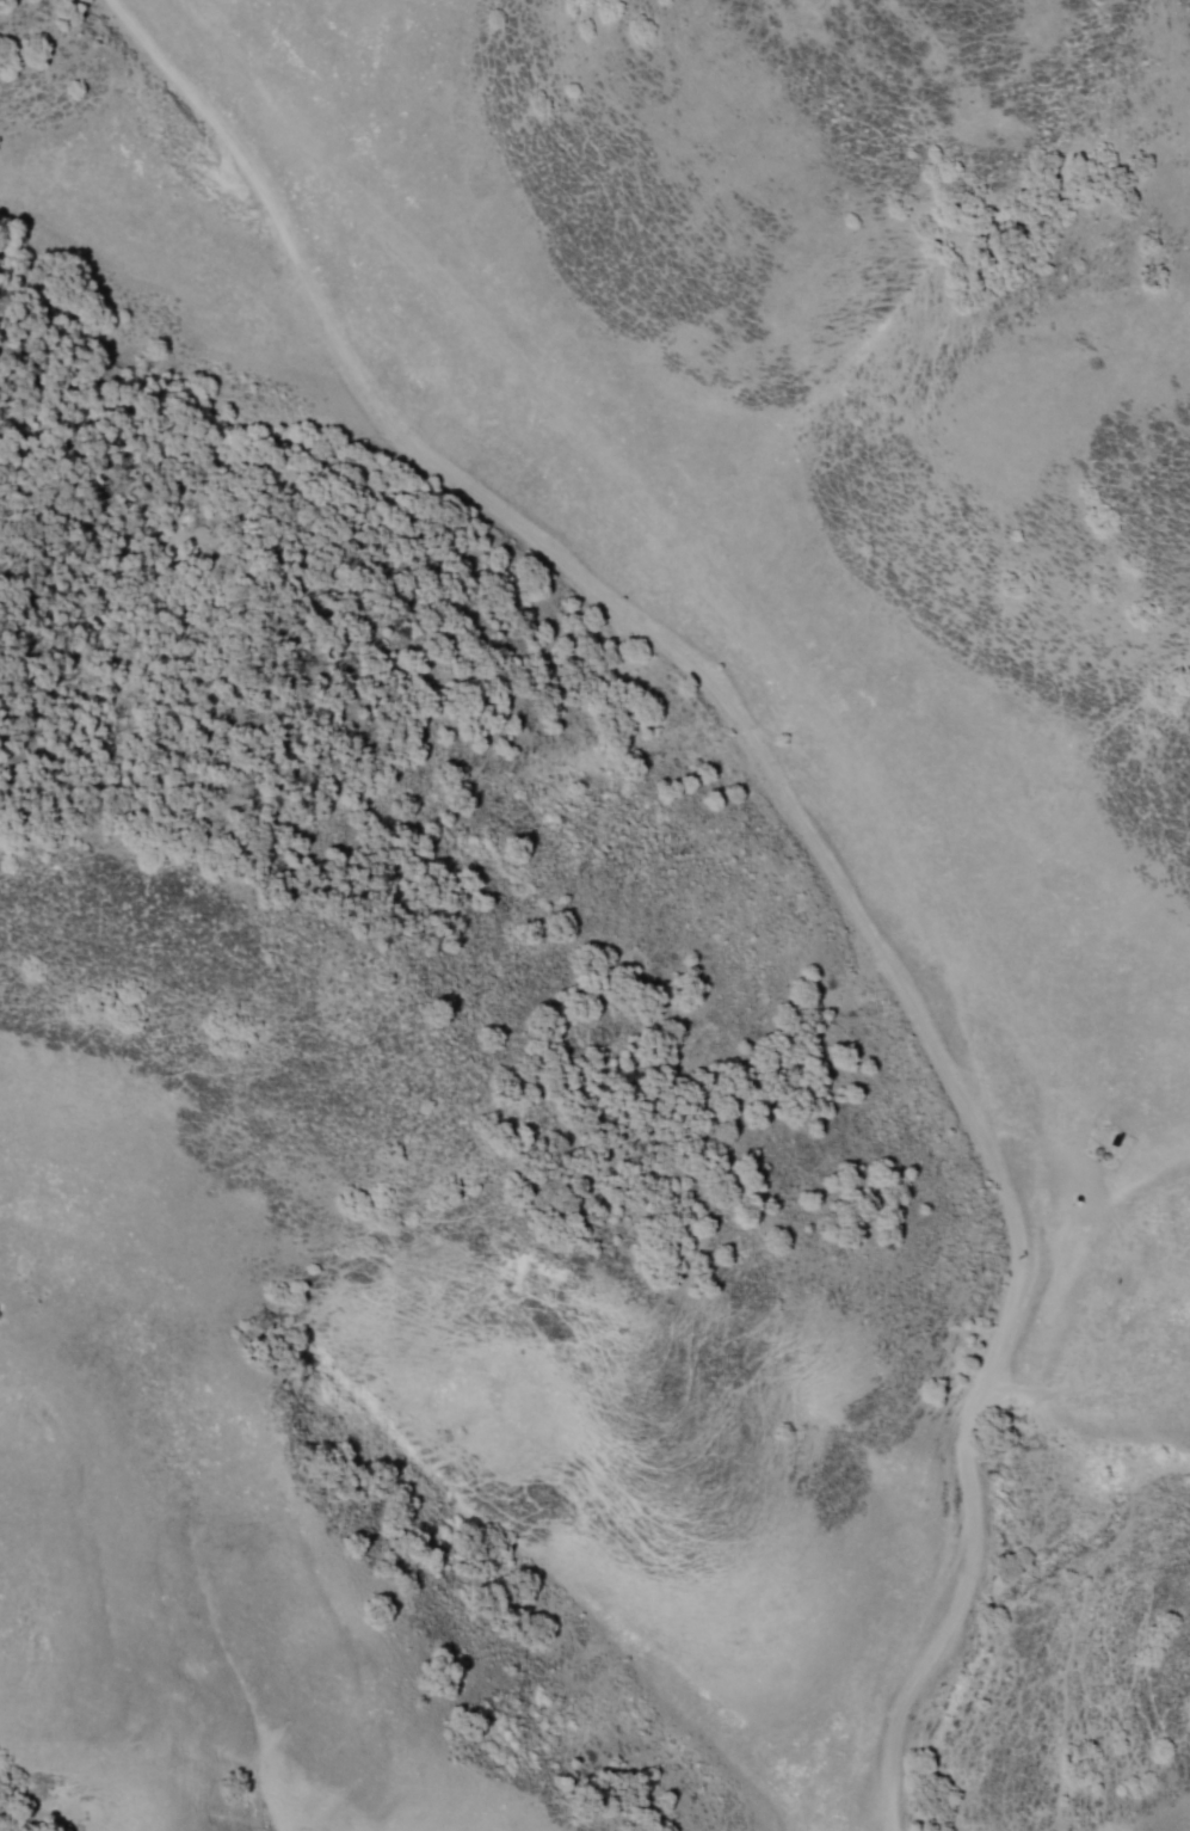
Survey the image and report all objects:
road: (801, 821)
road: (269, 950)

